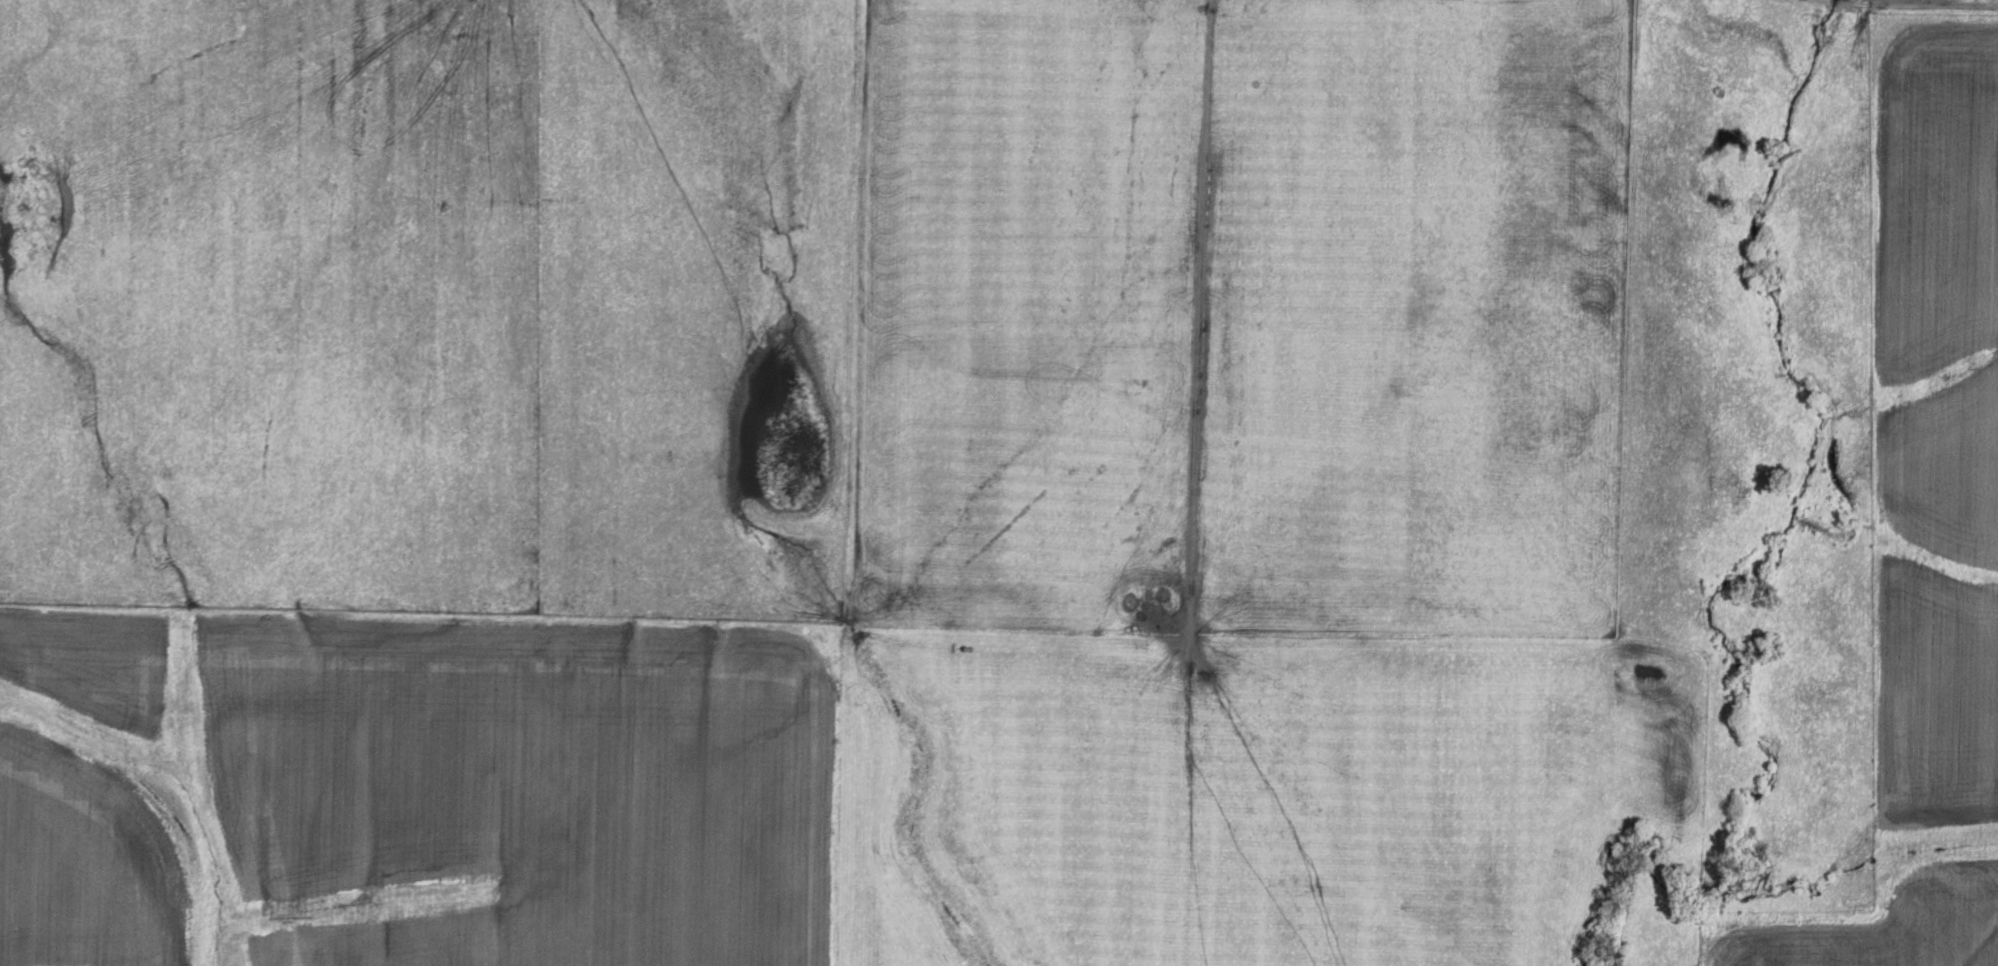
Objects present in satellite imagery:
crop: (1924, 517)
crop: (418, 791)

